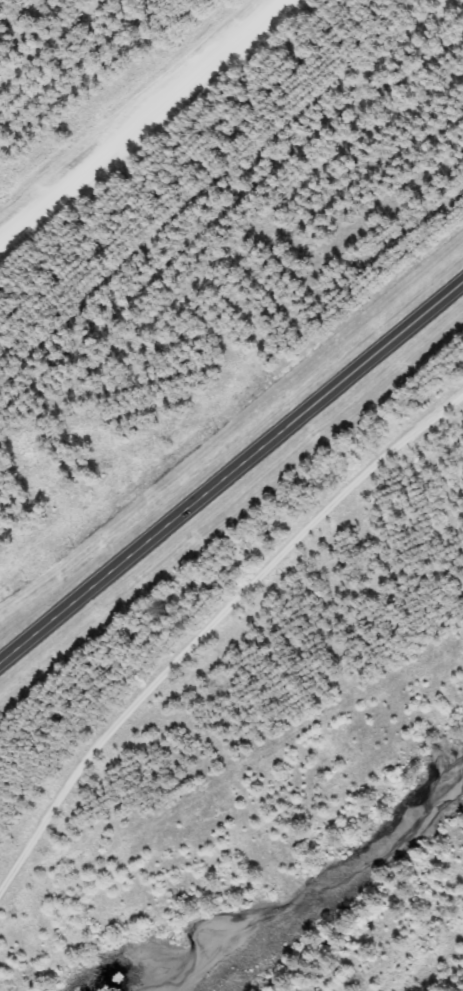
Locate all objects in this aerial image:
road: (137, 121)
road: (231, 470)

